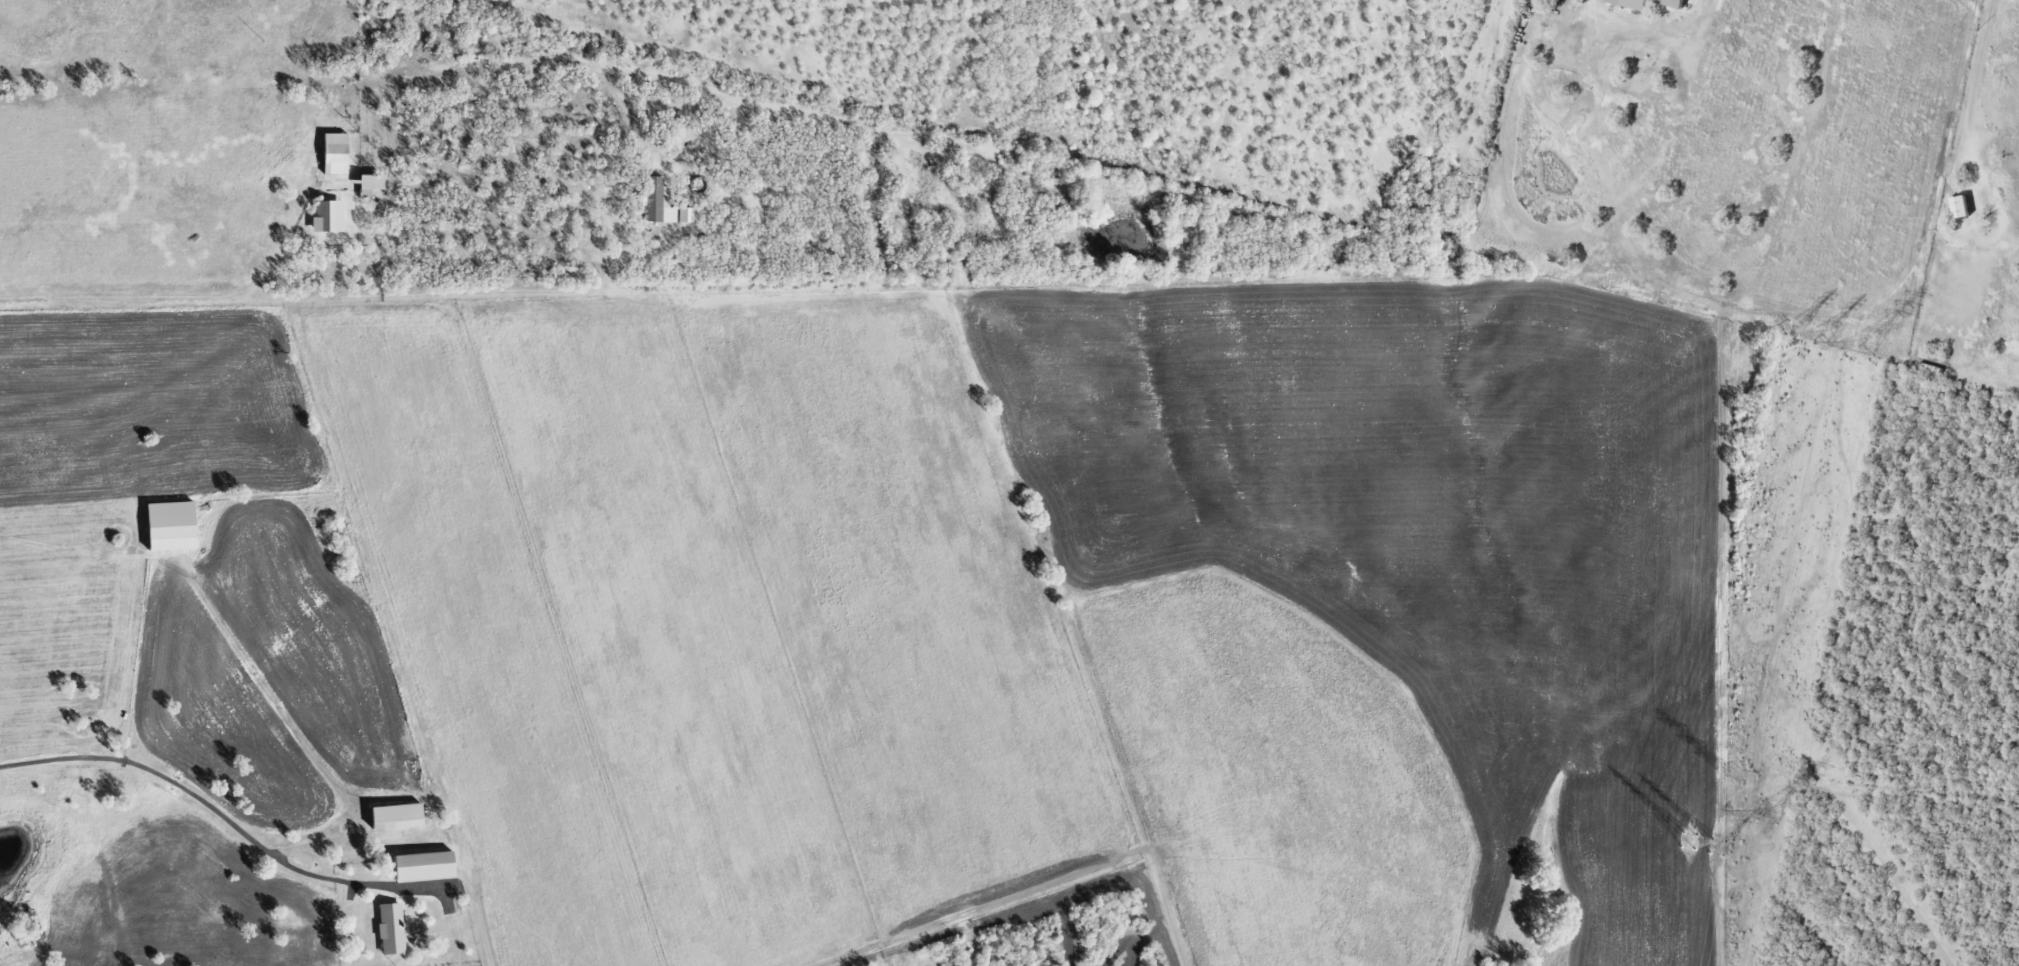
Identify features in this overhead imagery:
building: (1634, 7)
road: (1968, 122)
building: (334, 155)
building: (369, 185)
building: (657, 203)
building: (1961, 208)
building: (684, 216)
building: (327, 218)
road: (280, 242)
road: (346, 298)
power tower: (1794, 330)
power tower: (1825, 336)
power tower: (1866, 345)
building: (169, 527)
road: (148, 769)
power tower: (1770, 814)
building: (395, 817)
power tower: (1689, 843)
power tower: (1718, 849)
road: (470, 867)
building: (423, 868)
building: (390, 930)

